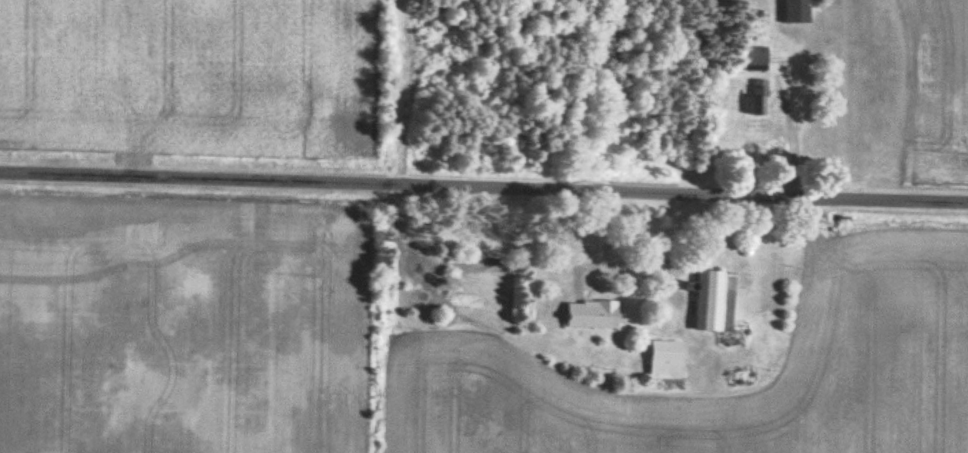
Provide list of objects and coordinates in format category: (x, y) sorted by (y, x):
building: (800, 11)
building: (757, 54)
building: (762, 95)
road: (484, 186)
building: (717, 300)
building: (595, 313)
building: (667, 358)

